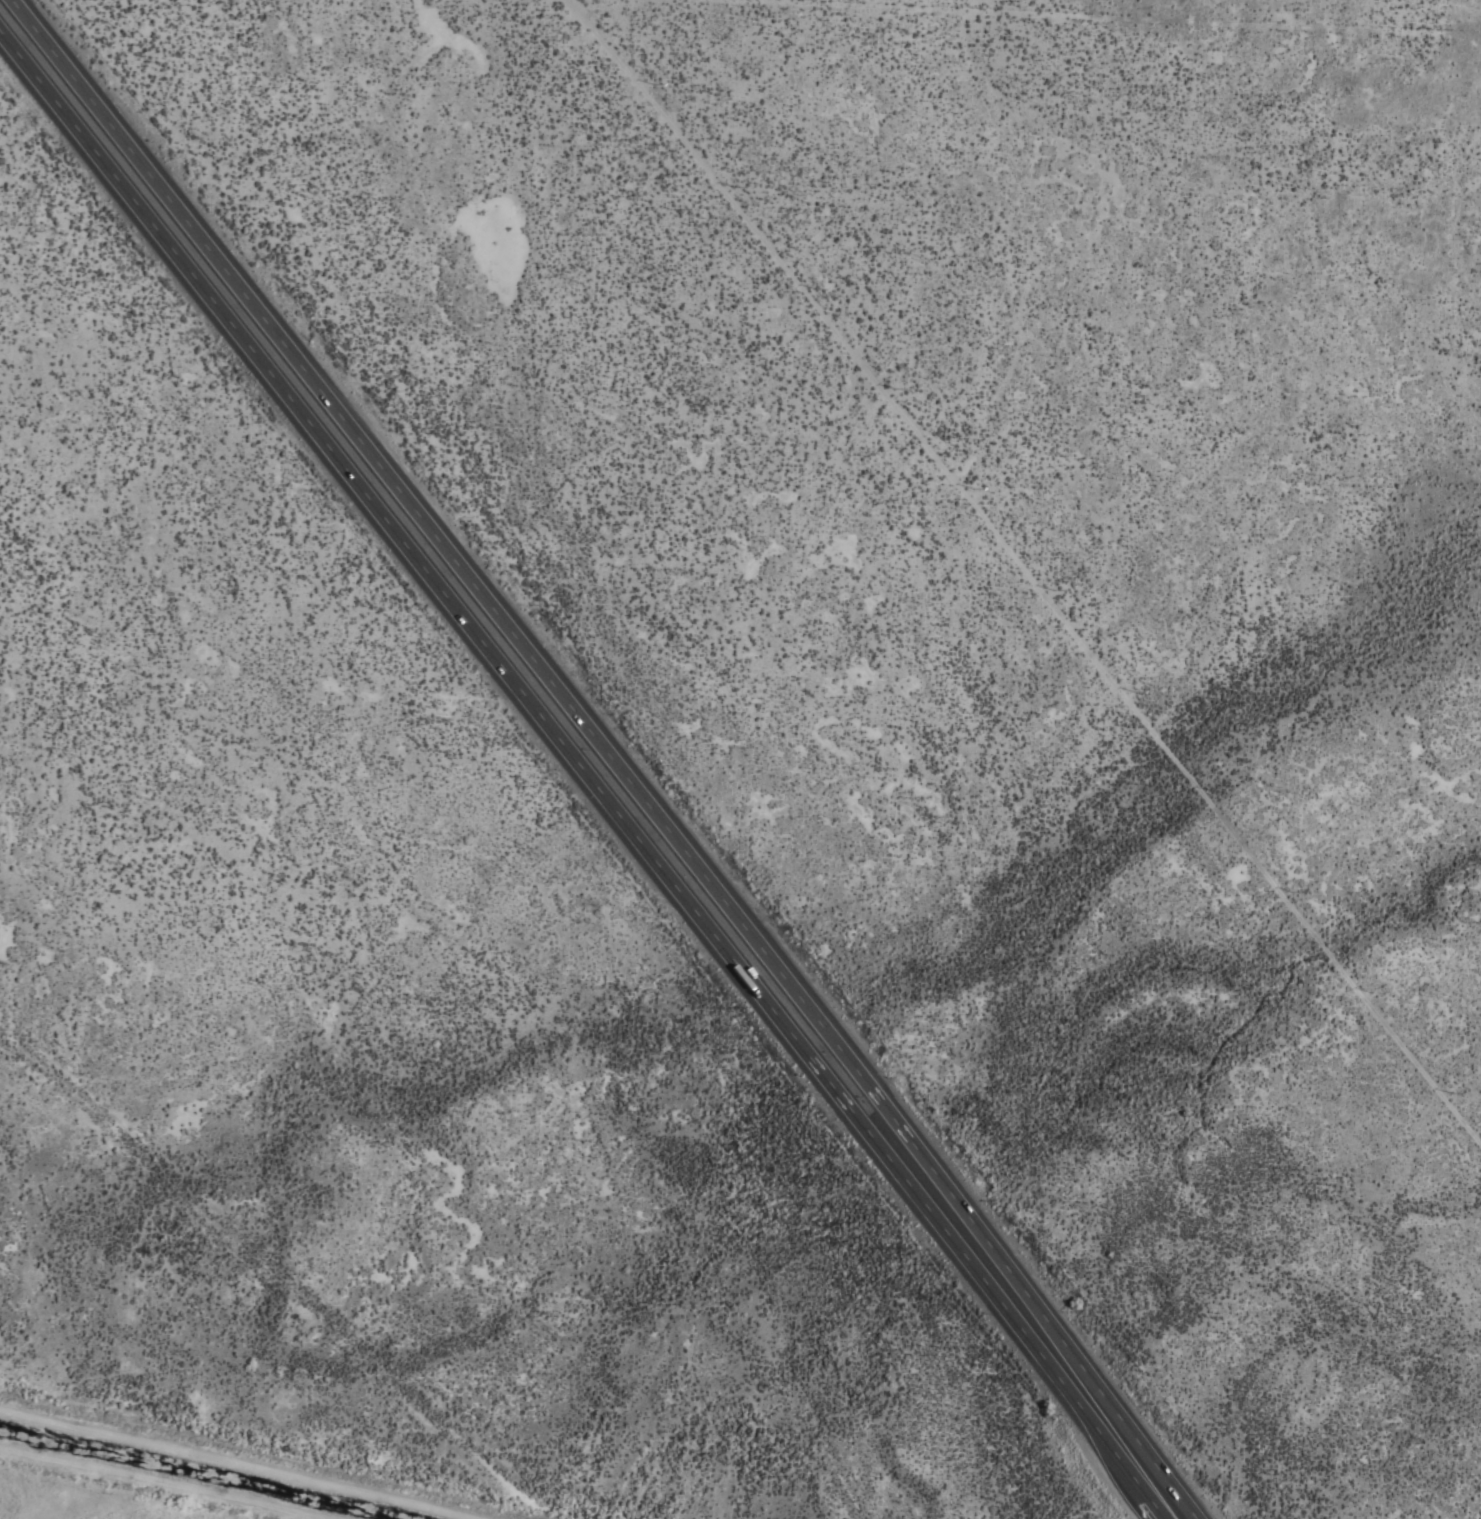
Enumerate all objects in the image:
road: (469, 583)
road: (454, 610)
road: (1043, 1345)
road: (242, 1463)
road: (1171, 1517)

